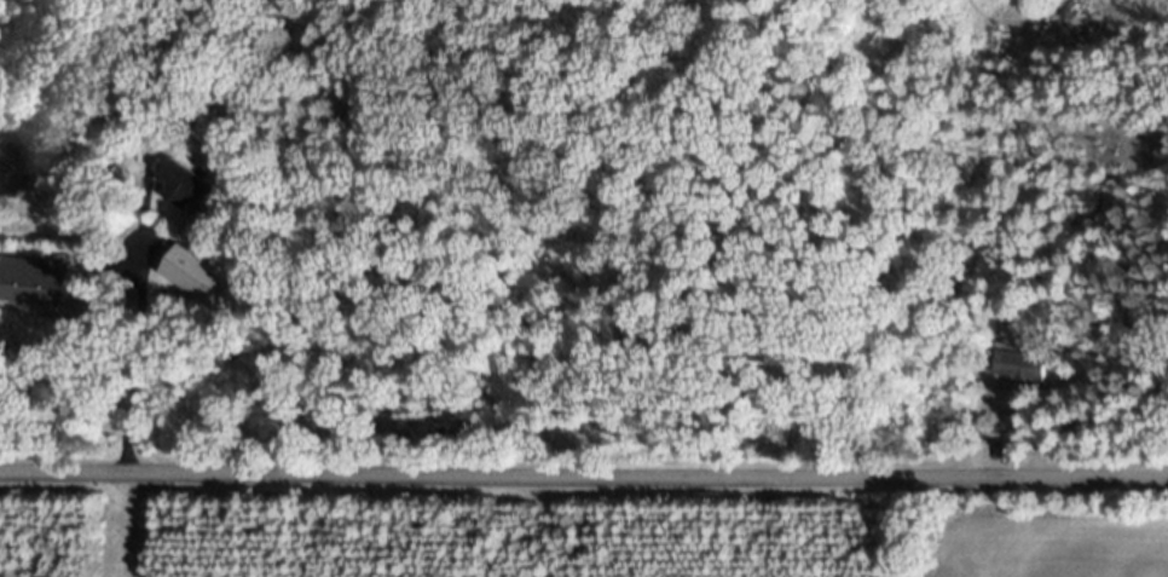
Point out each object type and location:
building: (348, 1)
building: (193, 194)
building: (197, 281)
building: (37, 290)
building: (1025, 374)
road: (583, 474)

